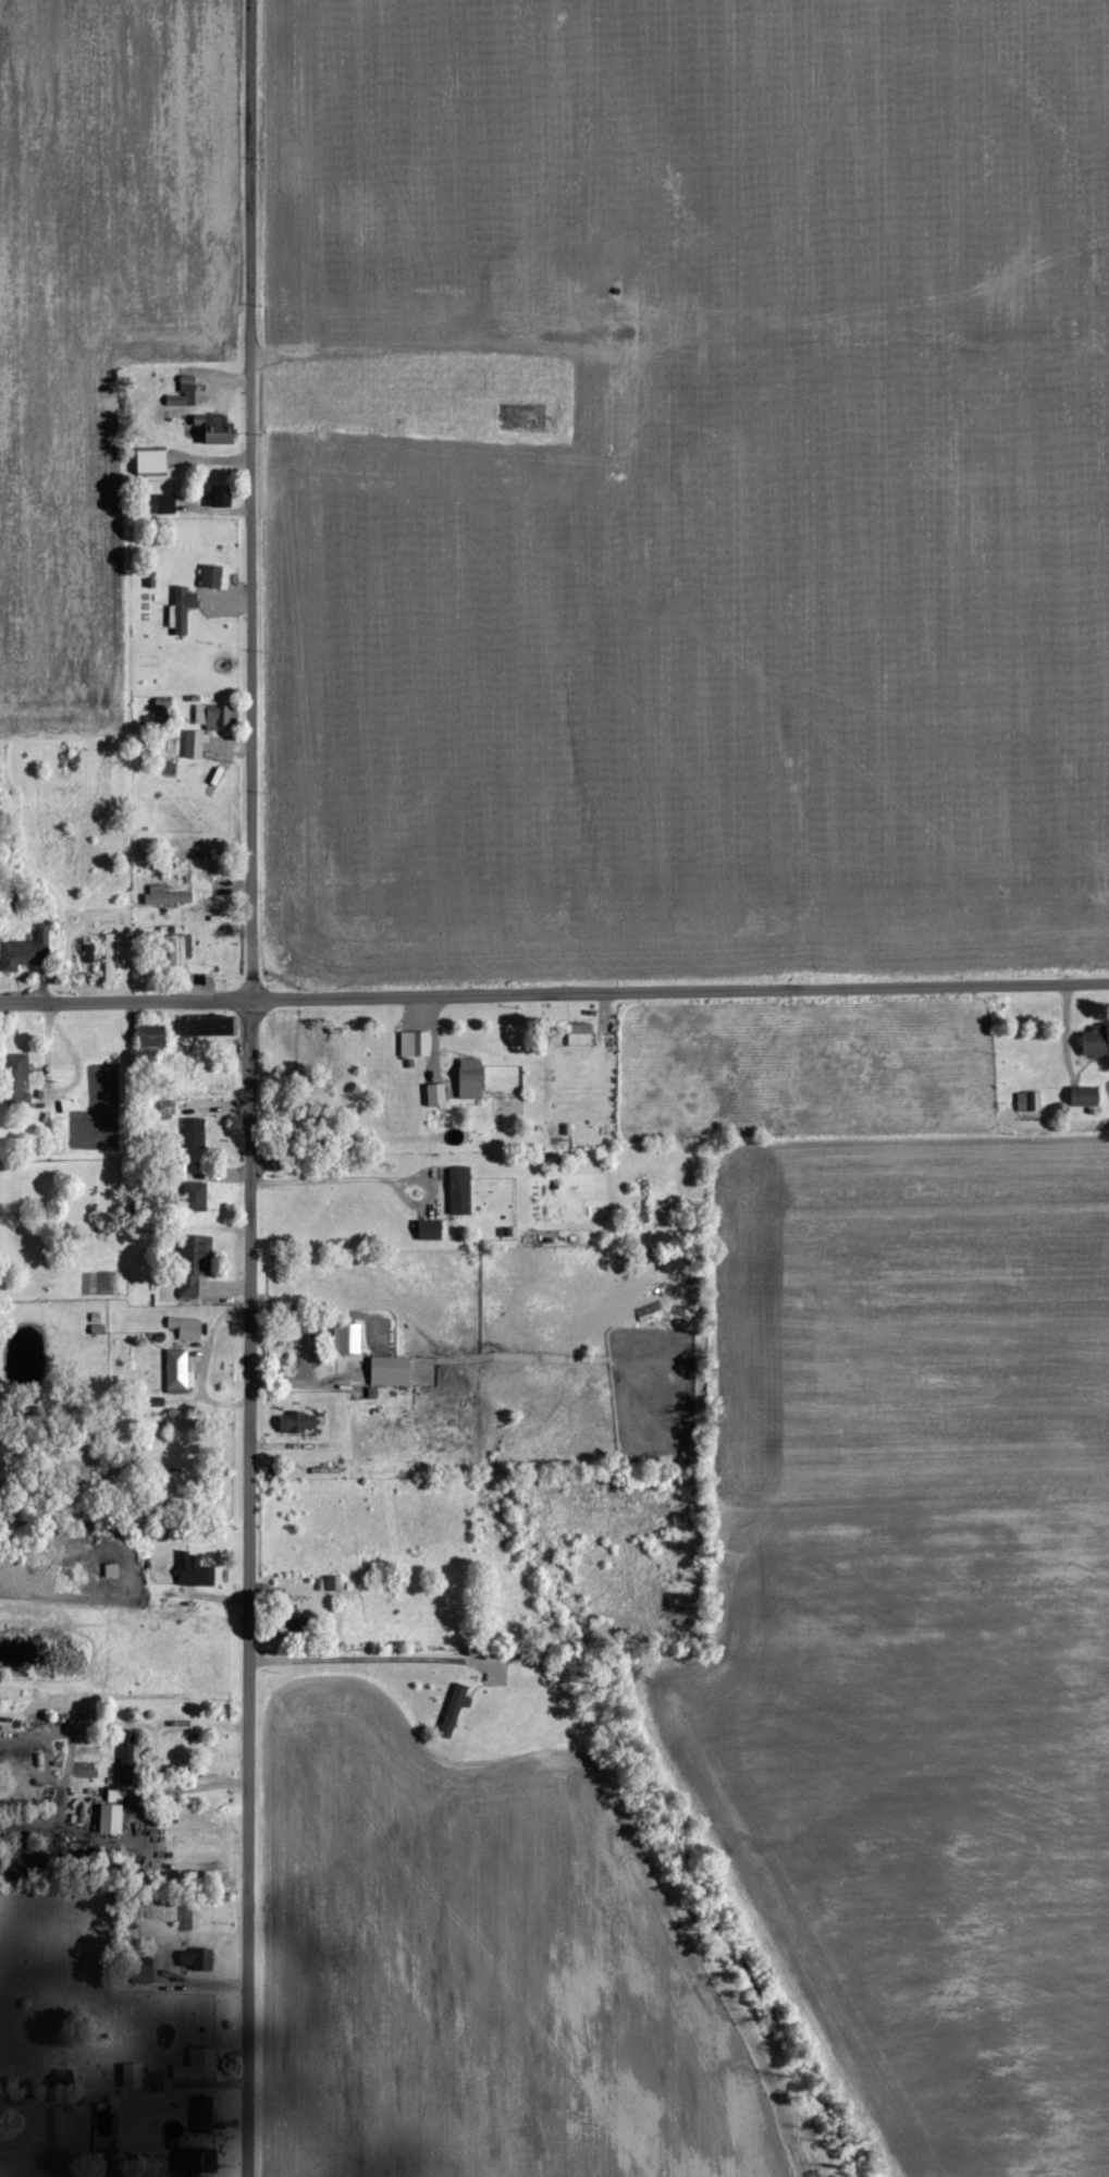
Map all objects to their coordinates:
building: (188, 391)
building: (217, 429)
building: (153, 461)
building: (224, 496)
building: (165, 503)
building: (217, 576)
building: (183, 609)
building: (214, 716)
building: (195, 744)
building: (167, 895)
building: (181, 950)
building: (23, 953)
building: (89, 953)
building: (111, 957)
road: (554, 990)
building: (214, 1026)
building: (584, 1035)
building: (156, 1036)
building: (1096, 1041)
building: (415, 1043)
building: (17, 1072)
building: (472, 1086)
road: (243, 1088)
building: (438, 1093)
building: (1087, 1096)
building: (1030, 1101)
building: (168, 1108)
building: (195, 1133)
building: (461, 1190)
building: (196, 1196)
building: (431, 1230)
building: (195, 1264)
building: (187, 1328)
building: (348, 1338)
building: (310, 1347)
building: (392, 1371)
building: (298, 1422)
building: (195, 1571)
building: (332, 1583)
building: (455, 1710)
building: (128, 1758)
building: (115, 1796)
building: (112, 1819)
building: (198, 1959)
building: (144, 1974)
building: (199, 2064)
building: (134, 2075)
building: (204, 2114)
building: (198, 2160)

